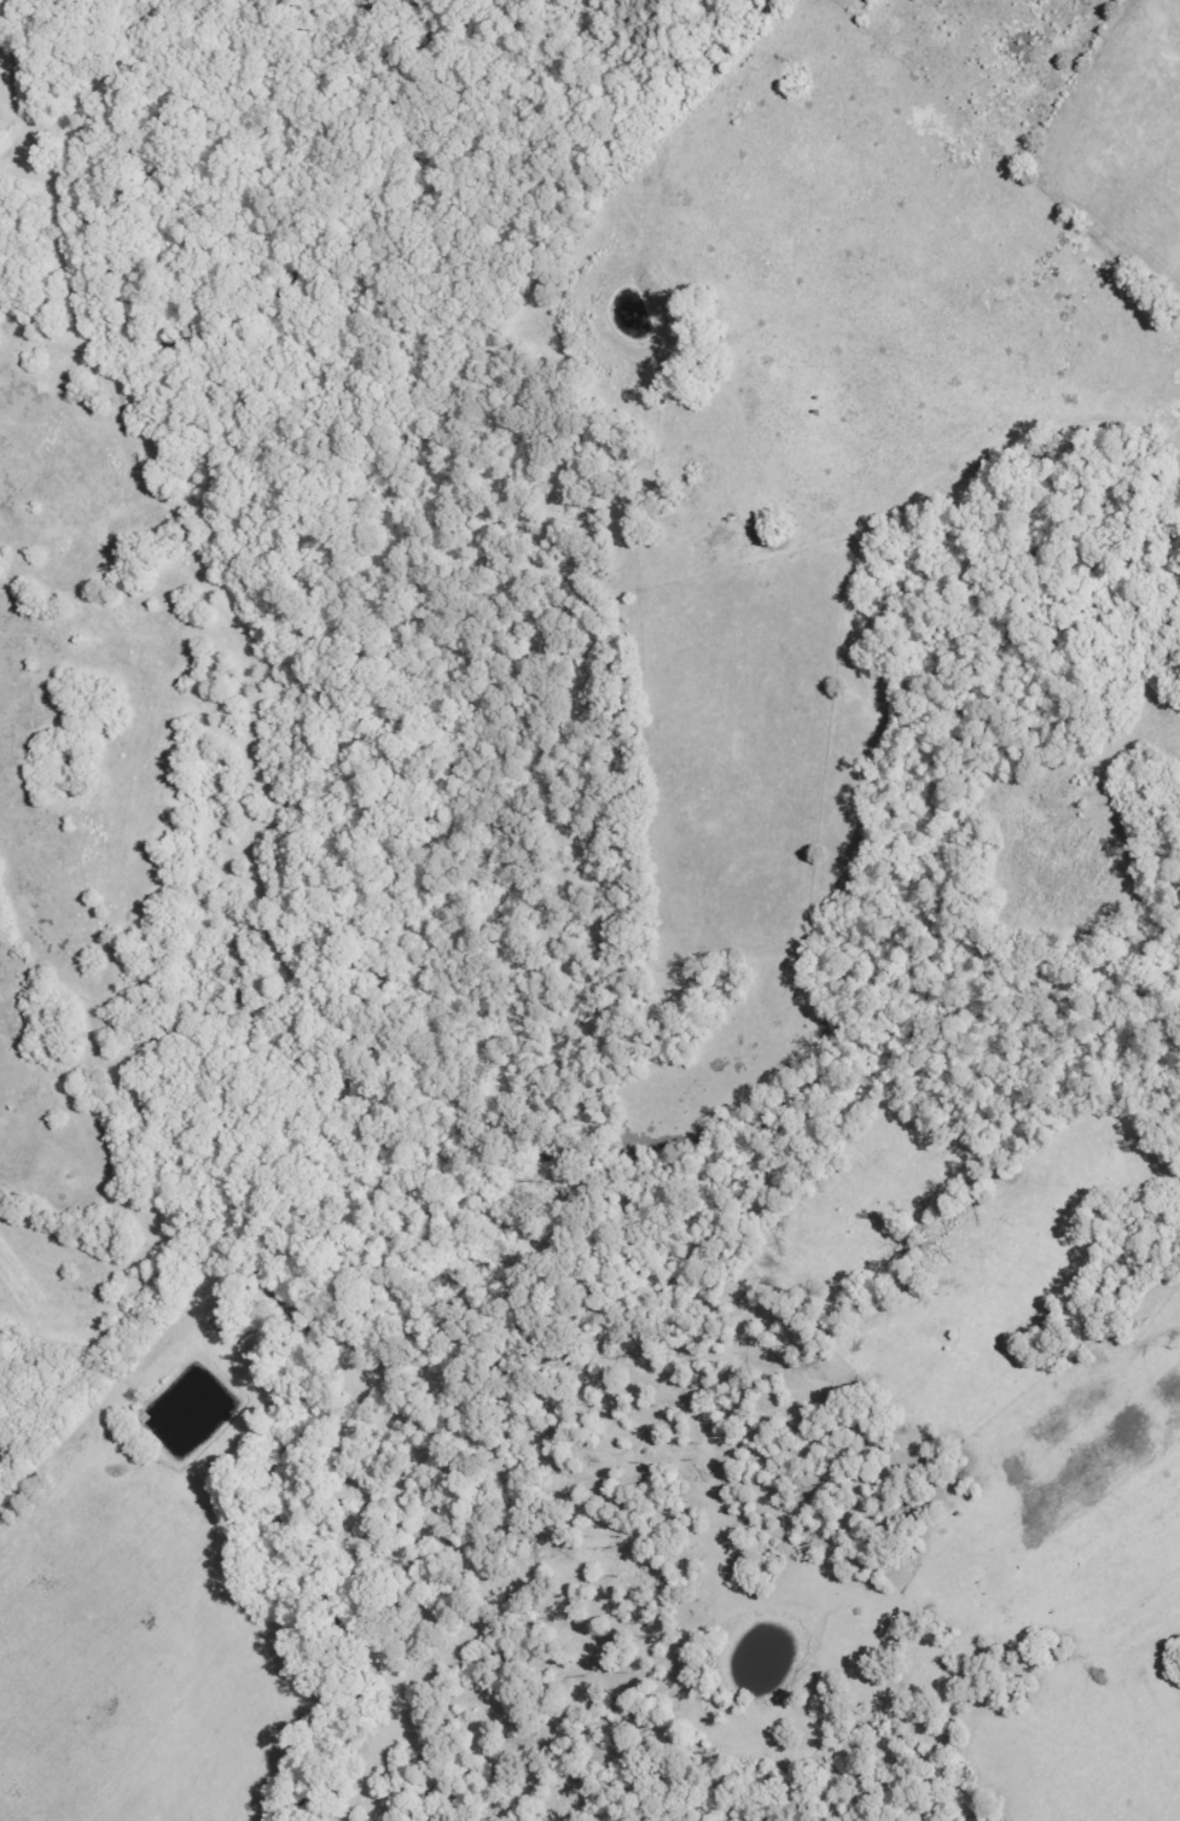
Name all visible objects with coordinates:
road: (1178, 1811)

